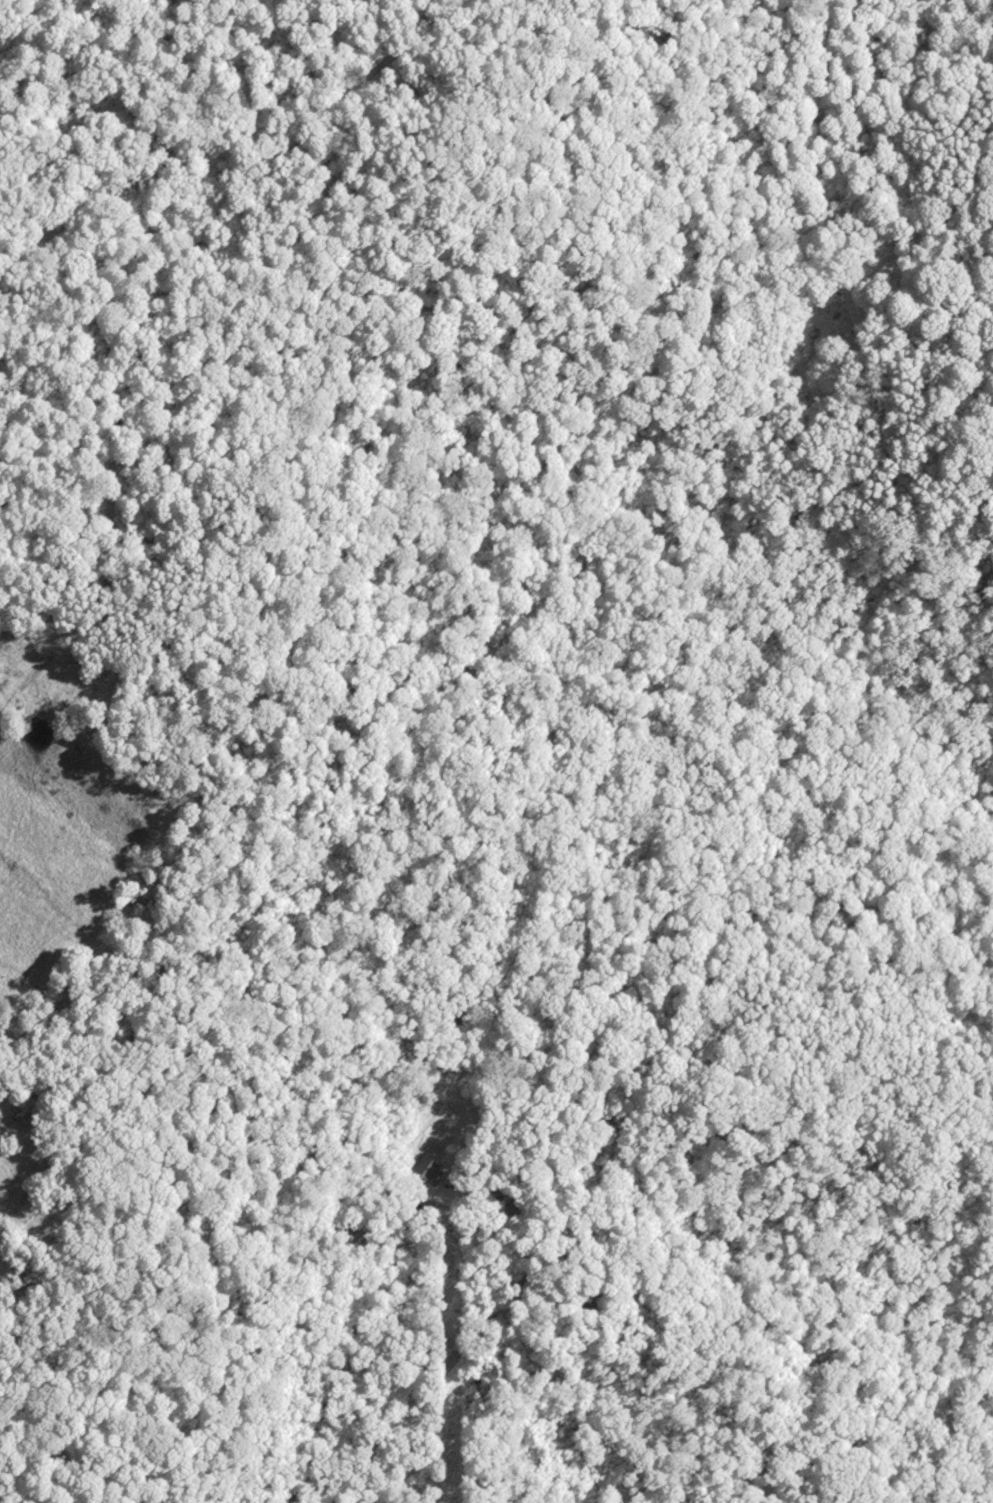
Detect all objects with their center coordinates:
building: (429, 1172)
road: (347, 1355)

